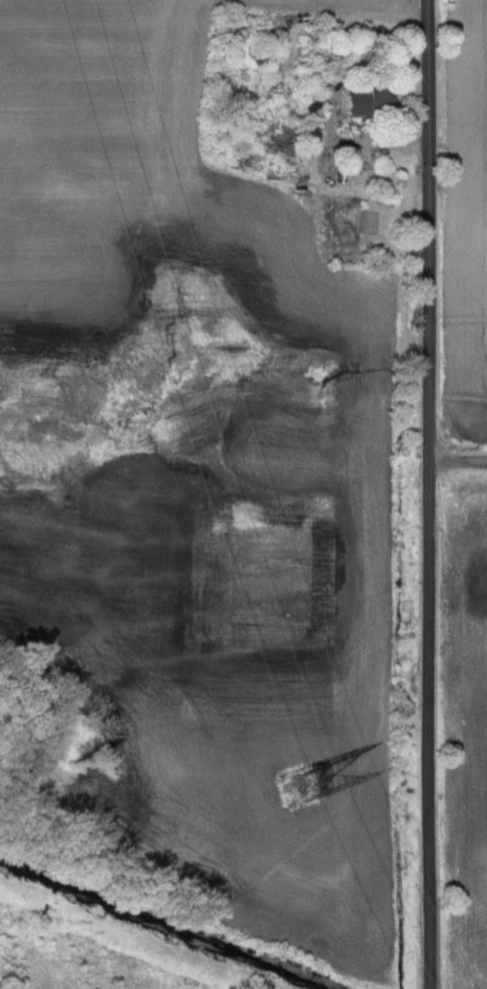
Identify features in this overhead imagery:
building: (269, 30)
building: (369, 101)
building: (279, 138)
road: (459, 460)
road: (431, 494)
power tower: (297, 785)

